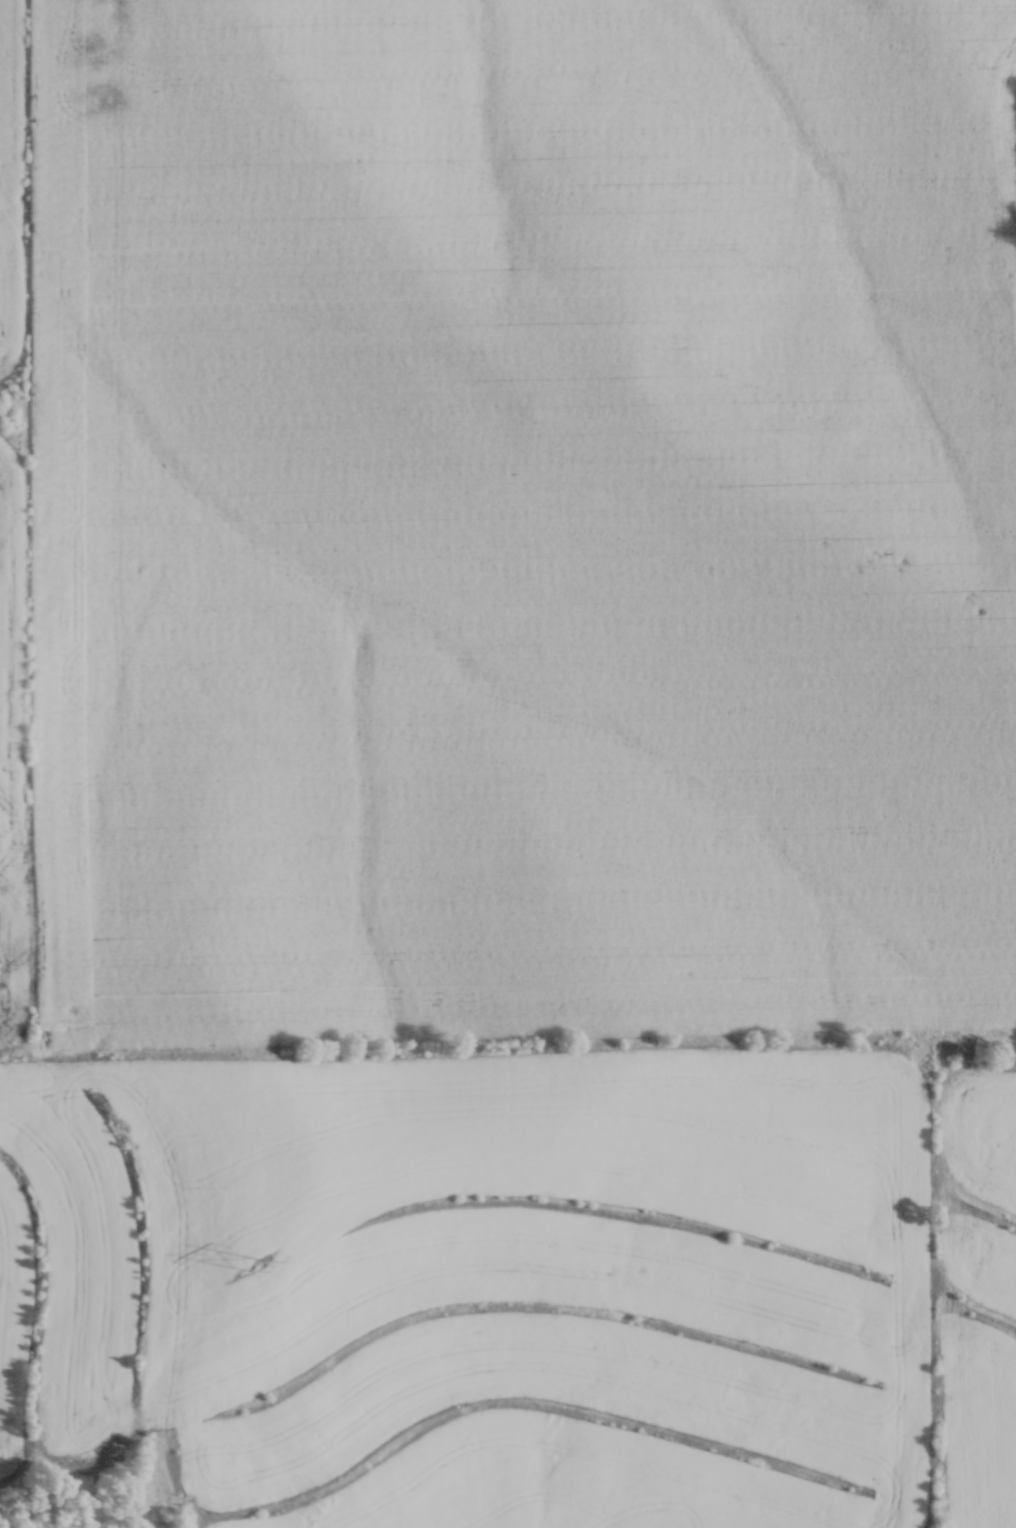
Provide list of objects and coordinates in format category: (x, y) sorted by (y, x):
power tower: (255, 1267)

